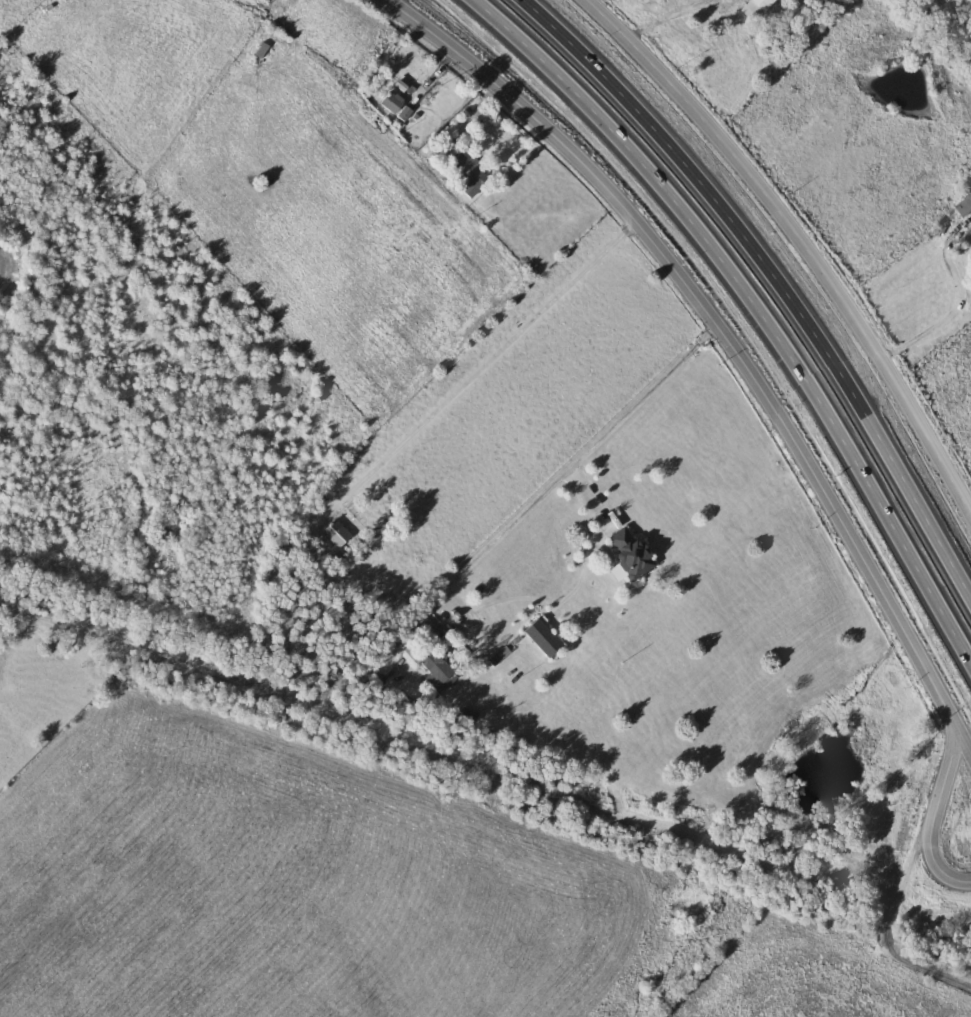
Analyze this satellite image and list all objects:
building: (751, 8)
road: (662, 19)
road: (430, 82)
building: (385, 101)
road: (473, 113)
building: (464, 175)
building: (963, 200)
road: (798, 238)
road: (774, 275)
road: (958, 300)
road: (754, 301)
road: (716, 319)
road: (487, 364)
road: (580, 460)
building: (332, 532)
building: (625, 552)
building: (536, 637)
building: (428, 666)
road: (941, 792)

